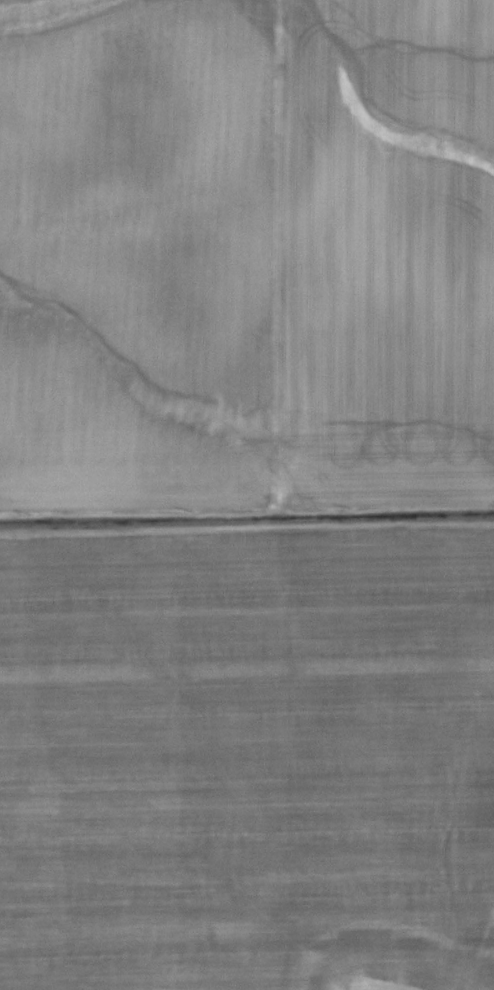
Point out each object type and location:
road: (247, 517)

